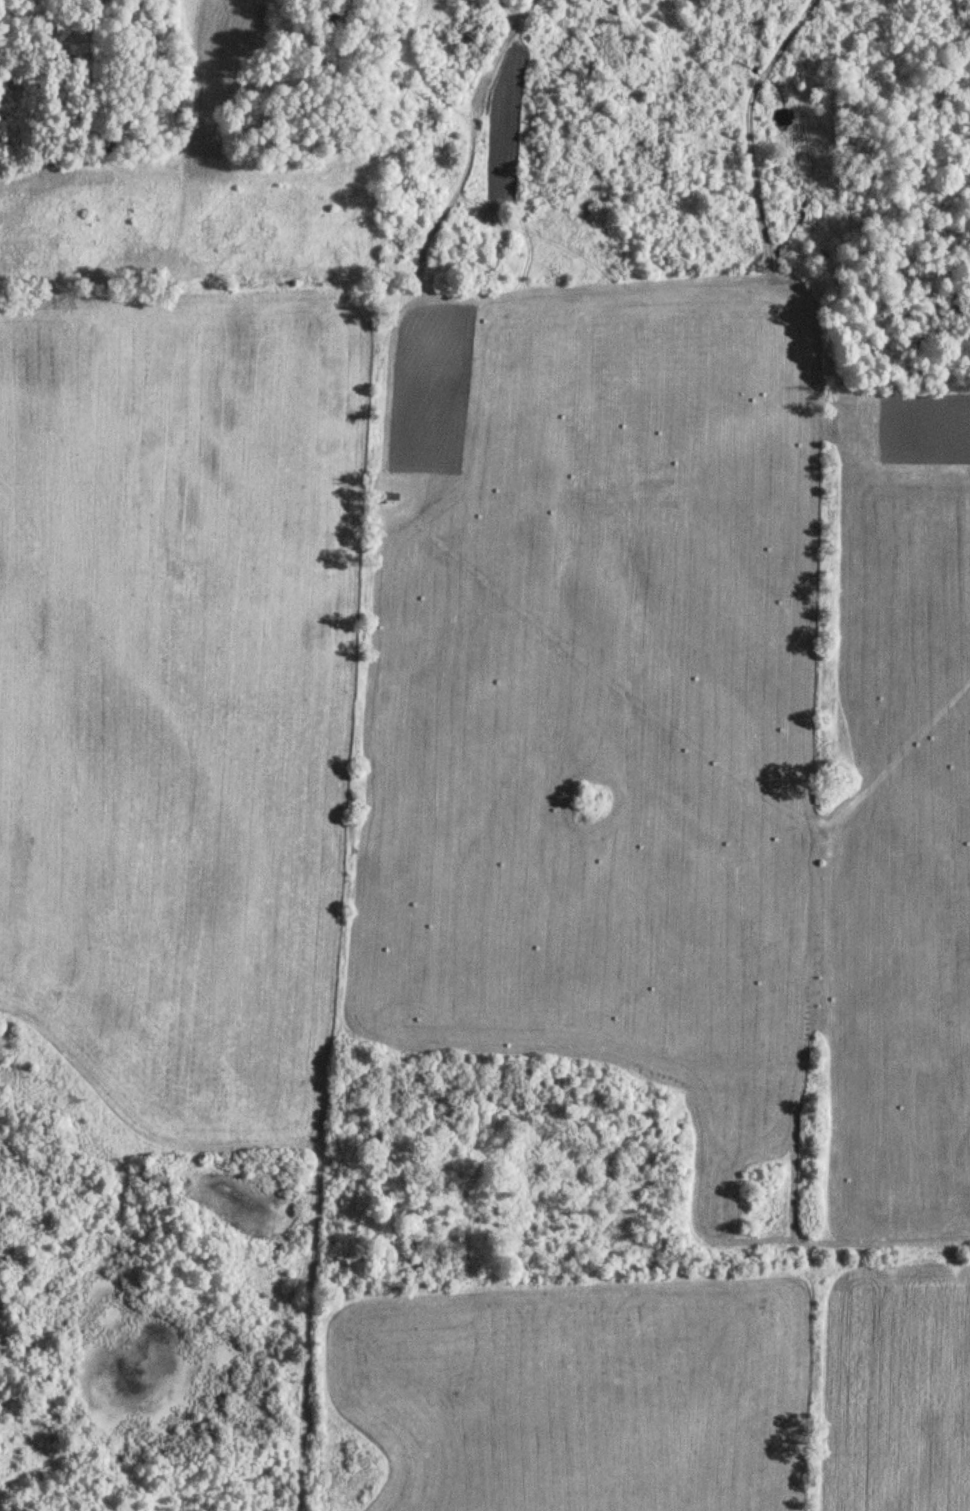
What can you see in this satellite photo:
building: (818, 837)

